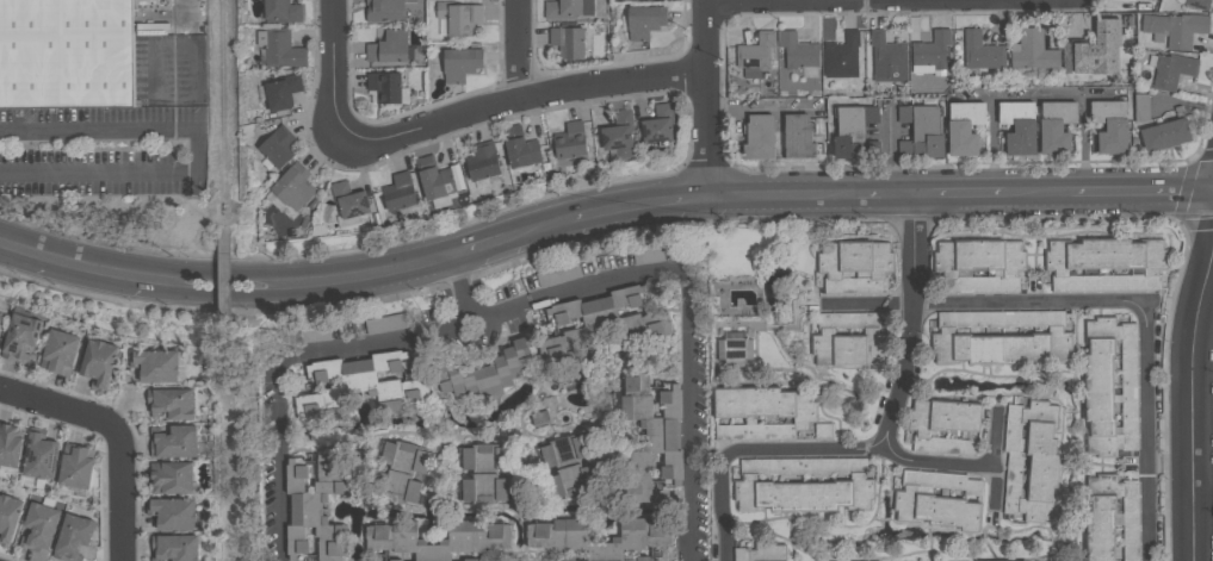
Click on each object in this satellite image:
building: (640, 0)
road: (735, 0)
building: (156, 2)
building: (1197, 4)
building: (568, 10)
building: (384, 11)
road: (186, 12)
building: (281, 12)
building: (458, 18)
building: (643, 21)
building: (1172, 30)
building: (567, 42)
building: (388, 48)
road: (515, 48)
building: (278, 49)
road: (330, 49)
building: (930, 51)
building: (1094, 51)
building: (797, 52)
building: (841, 52)
building: (980, 52)
building: (1032, 52)
building: (66, 55)
building: (755, 56)
building: (887, 60)
building: (459, 64)
building: (1170, 71)
railway: (223, 74)
building: (384, 87)
building: (280, 92)
road: (1045, 93)
road: (705, 98)
road: (499, 101)
road: (763, 107)
building: (1140, 107)
building: (657, 125)
building: (1017, 126)
building: (1109, 126)
building: (1054, 127)
building: (963, 129)
road: (100, 131)
building: (850, 131)
building: (920, 132)
building: (618, 136)
building: (1164, 136)
building: (757, 137)
building: (797, 137)
building: (569, 142)
road: (1084, 142)
road: (994, 143)
building: (276, 148)
road: (892, 149)
building: (519, 150)
building: (481, 163)
road: (163, 174)
building: (433, 179)
building: (292, 187)
road: (1141, 191)
road: (1036, 192)
railway: (224, 193)
building: (398, 193)
road: (959, 193)
road: (871, 194)
road: (904, 194)
road: (778, 195)
building: (347, 201)
road: (635, 205)
road: (536, 231)
road: (481, 247)
building: (648, 257)
building: (1104, 266)
building: (980, 267)
building: (853, 268)
road: (224, 275)
building: (557, 275)
railway: (225, 288)
road: (463, 292)
road: (225, 295)
road: (991, 307)
road: (521, 314)
building: (1, 316)
road: (1205, 318)
building: (384, 324)
road: (908, 325)
building: (645, 326)
building: (315, 336)
building: (998, 337)
building: (18, 338)
building: (846, 341)
building: (735, 350)
building: (57, 353)
building: (97, 364)
building: (154, 367)
building: (487, 373)
building: (355, 382)
building: (643, 382)
building: (1110, 387)
road: (1194, 398)
road: (57, 404)
building: (169, 404)
building: (760, 416)
building: (541, 419)
building: (943, 429)
building: (822, 431)
road: (1146, 434)
building: (172, 442)
building: (657, 443)
building: (10, 445)
road: (893, 455)
building: (38, 459)
building: (1029, 461)
building: (74, 467)
building: (568, 468)
building: (400, 473)
building: (484, 474)
building: (171, 479)
building: (802, 485)
road: (119, 493)
building: (937, 500)
road: (1203, 504)
building: (315, 510)
road: (725, 510)
building: (171, 516)
building: (7, 519)
building: (1110, 521)
building: (38, 529)
building: (72, 537)
building: (598, 537)
building: (438, 540)
building: (173, 548)
building: (759, 554)
building: (645, 559)
building: (475, 560)
building: (563, 560)

